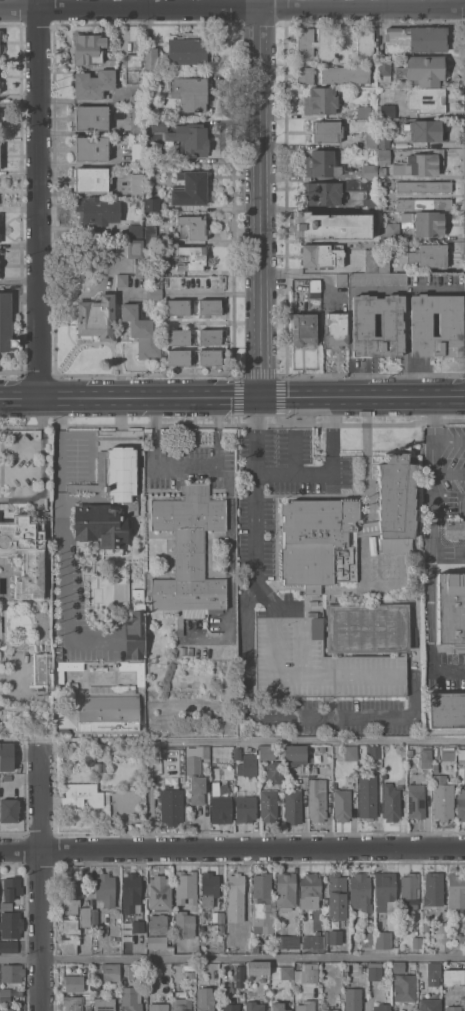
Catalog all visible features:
road: (232, 8)
building: (415, 38)
building: (314, 43)
building: (365, 43)
building: (88, 48)
building: (189, 48)
building: (150, 59)
building: (132, 67)
building: (384, 68)
building: (421, 70)
building: (305, 75)
building: (345, 75)
building: (152, 80)
building: (93, 84)
building: (189, 92)
building: (133, 99)
building: (321, 100)
building: (426, 100)
building: (363, 111)
building: (387, 111)
building: (90, 117)
building: (136, 118)
building: (156, 124)
building: (425, 130)
building: (326, 131)
building: (189, 138)
building: (383, 139)
building: (370, 140)
building: (90, 148)
building: (136, 153)
building: (384, 156)
building: (321, 164)
building: (420, 164)
building: (370, 171)
building: (382, 171)
building: (90, 179)
building: (388, 181)
building: (137, 184)
building: (423, 186)
building: (189, 188)
building: (323, 193)
building: (371, 194)
building: (423, 194)
road: (41, 198)
road: (259, 198)
building: (422, 203)
building: (151, 204)
building: (97, 210)
building: (423, 222)
building: (193, 226)
building: (330, 226)
building: (135, 230)
building: (390, 230)
building: (150, 235)
building: (135, 249)
building: (425, 255)
building: (320, 256)
building: (192, 257)
building: (371, 260)
building: (383, 261)
building: (139, 270)
building: (151, 270)
building: (340, 279)
building: (378, 279)
road: (20, 280)
building: (122, 280)
building: (314, 288)
building: (154, 293)
road: (214, 293)
road: (26, 296)
road: (5, 297)
building: (209, 306)
building: (177, 307)
building: (96, 317)
building: (6, 322)
building: (450, 324)
building: (391, 325)
building: (303, 329)
building: (141, 330)
building: (335, 330)
building: (209, 336)
building: (178, 337)
building: (209, 356)
building: (178, 357)
building: (418, 363)
road: (232, 398)
traffic signals: (259, 398)
road: (450, 441)
road: (369, 459)
road: (44, 467)
road: (186, 467)
road: (294, 471)
road: (449, 472)
building: (124, 498)
building: (345, 529)
road: (365, 529)
building: (454, 529)
road: (63, 541)
road: (432, 548)
building: (189, 550)
building: (25, 552)
building: (382, 566)
road: (363, 573)
building: (451, 608)
building: (135, 627)
building: (368, 628)
building: (58, 650)
building: (58, 657)
road: (247, 662)
building: (318, 663)
building: (43, 671)
building: (58, 676)
building: (140, 678)
building: (108, 708)
building: (446, 709)
building: (48, 715)
building: (66, 718)
building: (61, 732)
road: (254, 738)
building: (321, 751)
building: (373, 751)
building: (268, 752)
building: (350, 752)
building: (237, 753)
building: (229, 754)
building: (294, 754)
building: (448, 754)
building: (461, 754)
building: (6, 756)
building: (168, 757)
building: (425, 758)
building: (248, 765)
building: (99, 766)
building: (435, 768)
building: (274, 771)
building: (313, 771)
building: (196, 772)
building: (7, 777)
building: (215, 788)
building: (81, 796)
building: (367, 796)
building: (442, 798)
building: (317, 799)
building: (416, 801)
building: (391, 802)
building: (461, 802)
building: (342, 804)
building: (171, 805)
building: (268, 805)
building: (293, 806)
building: (245, 808)
building: (221, 809)
building: (9, 810)
road: (232, 847)
road: (45, 875)
building: (236, 884)
building: (72, 885)
building: (132, 885)
building: (186, 887)
building: (12, 888)
building: (209, 888)
building: (433, 888)
building: (105, 889)
building: (285, 890)
building: (310, 890)
building: (409, 890)
building: (385, 891)
building: (456, 891)
building: (360, 892)
building: (159, 893)
building: (337, 896)
building: (262, 903)
building: (6, 906)
building: (70, 906)
building: (142, 912)
building: (242, 916)
building: (85, 917)
building: (94, 917)
building: (221, 917)
building: (182, 921)
building: (157, 924)
building: (11, 925)
building: (70, 926)
building: (138, 926)
building: (426, 926)
building: (335, 937)
building: (228, 938)
building: (367, 940)
building: (383, 940)
building: (459, 940)
building: (161, 941)
building: (282, 941)
building: (313, 941)
building: (416, 942)
building: (221, 945)
building: (9, 946)
building: (69, 946)
building: (254, 949)
road: (232, 959)
building: (413, 963)
building: (398, 966)
building: (257, 968)
building: (434, 970)
building: (11, 972)
building: (111, 972)
building: (133, 972)
building: (286, 972)
building: (307, 973)
building: (375, 973)
building: (240, 976)
building: (453, 976)
building: (332, 981)
building: (73, 982)
building: (405, 988)
building: (5, 991)
building: (120, 998)
building: (132, 998)
building: (229, 998)
building: (5, 999)
building: (205, 999)
building: (353, 999)
building: (76, 1002)
building: (104, 1004)
building: (181, 1004)
building: (430, 1005)
building: (254, 1006)
building: (278, 1006)
building: (159, 1007)
building: (305, 1007)
building: (382, 1007)
building: (453, 1008)
building: (7, 1009)
building: (329, 1010)

